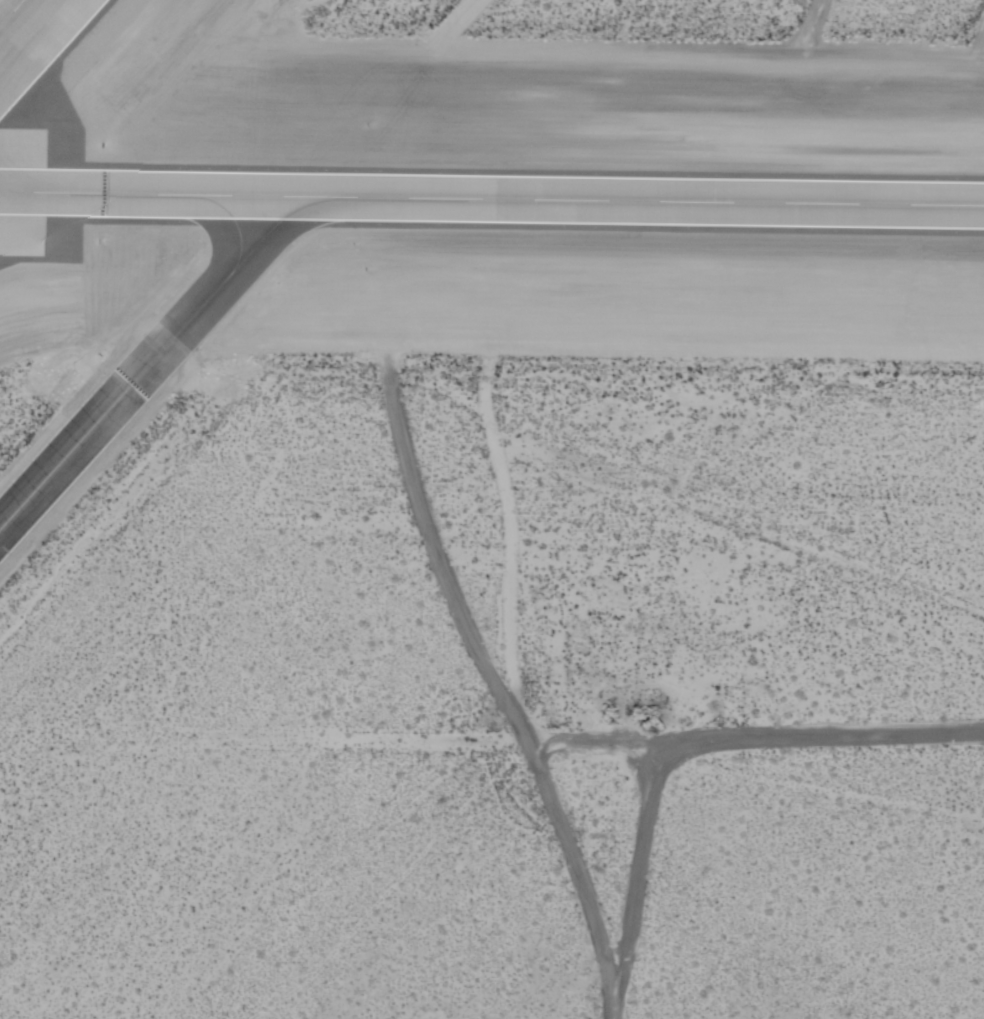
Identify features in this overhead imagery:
airport runway: (10, 11)
airport runway: (492, 199)
airport taxiway: (150, 362)
airport: (492, 509)

